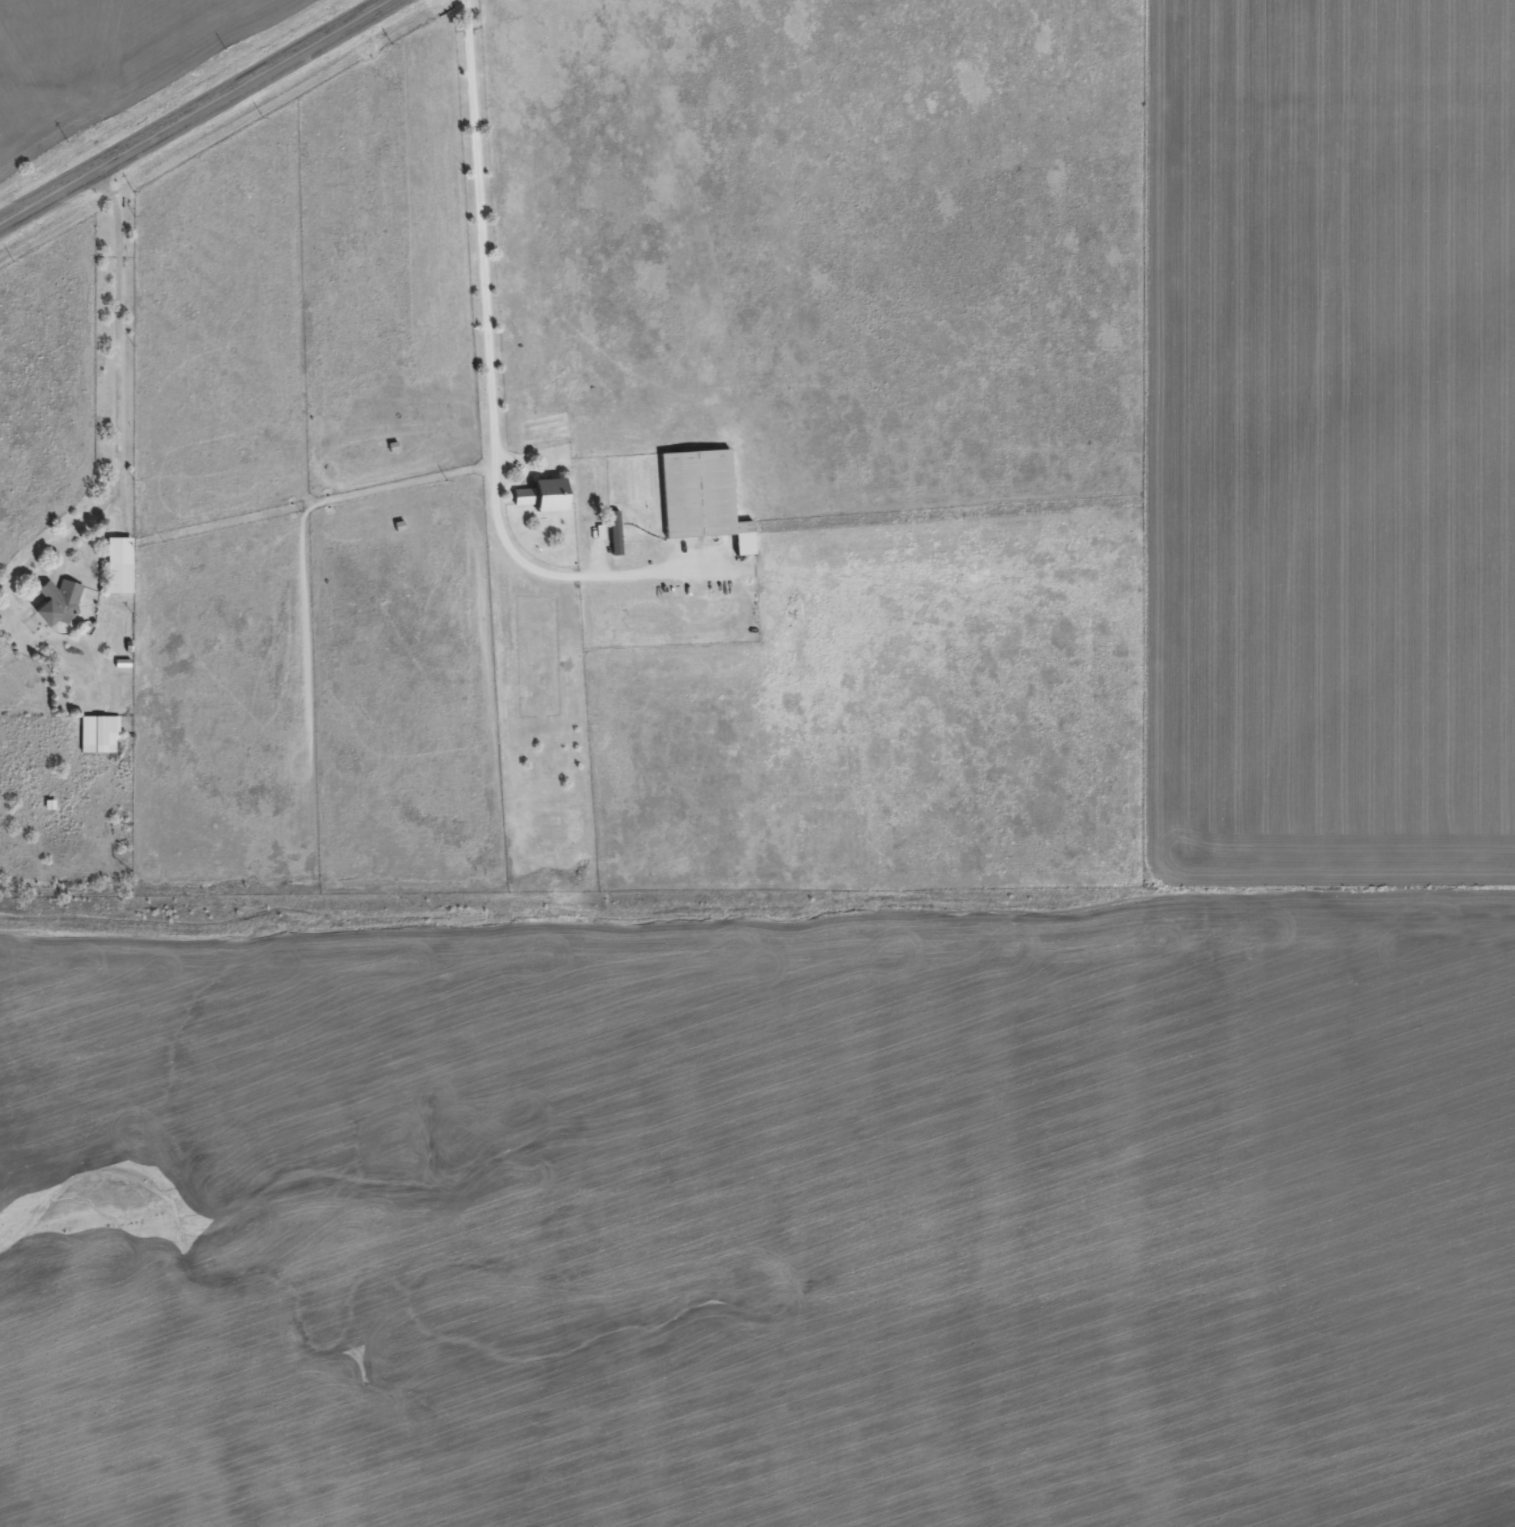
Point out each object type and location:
road: (200, 118)
road: (490, 384)
road: (117, 418)
building: (544, 502)
building: (702, 505)
building: (614, 540)
building: (119, 573)
building: (58, 609)
building: (98, 741)

